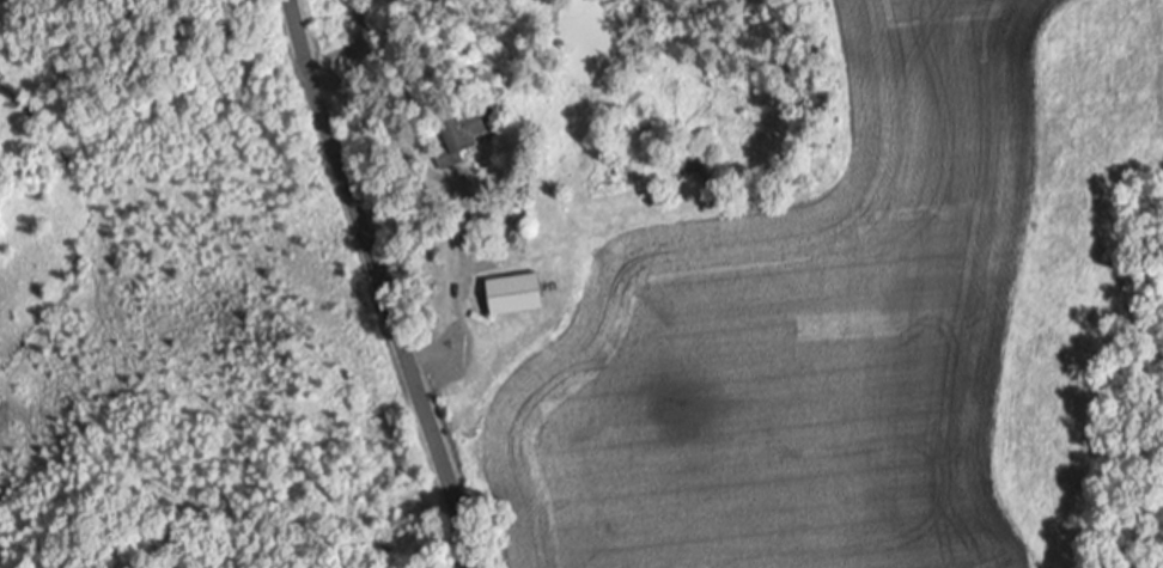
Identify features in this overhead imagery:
building: (463, 136)
road: (377, 283)
building: (520, 295)

